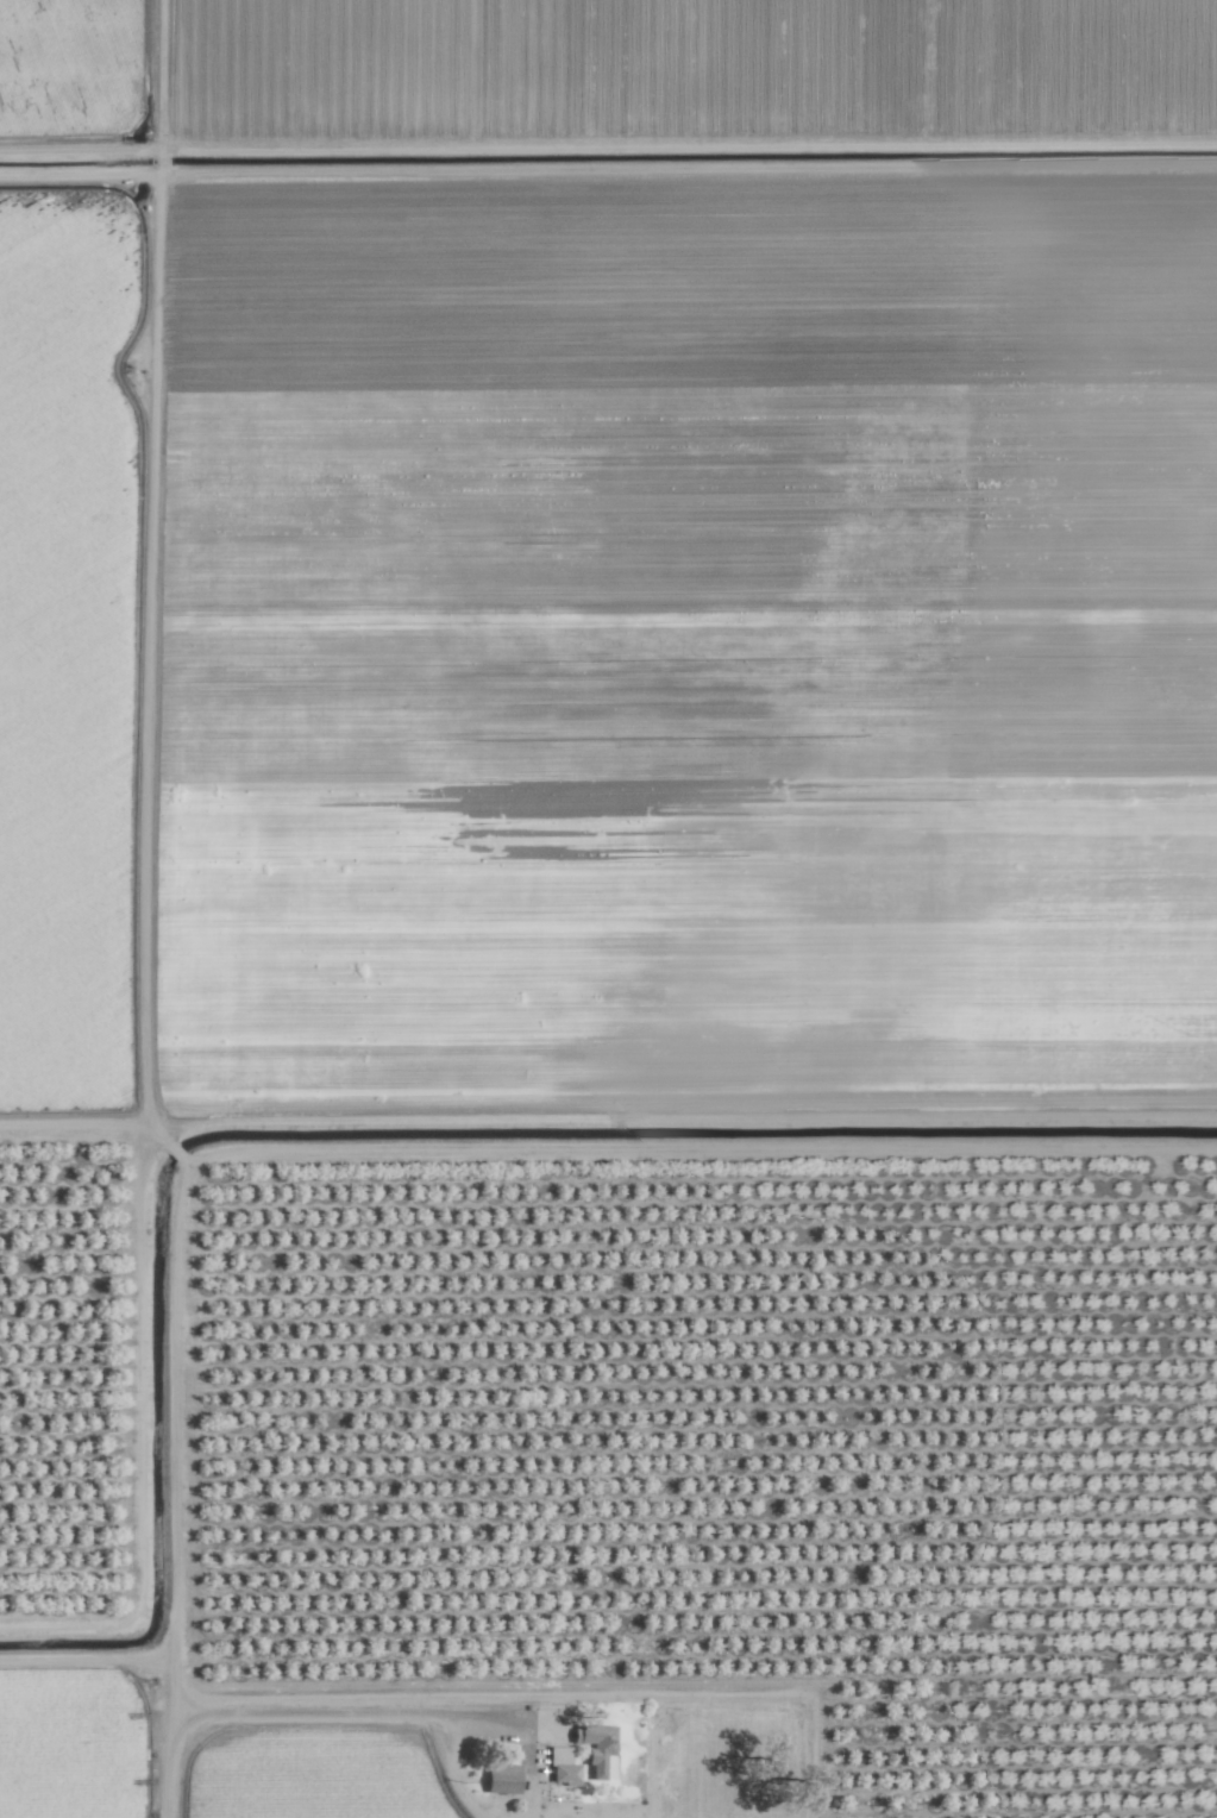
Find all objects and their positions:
road: (309, 1704)
building: (596, 1749)
building: (560, 1766)
building: (500, 1778)

